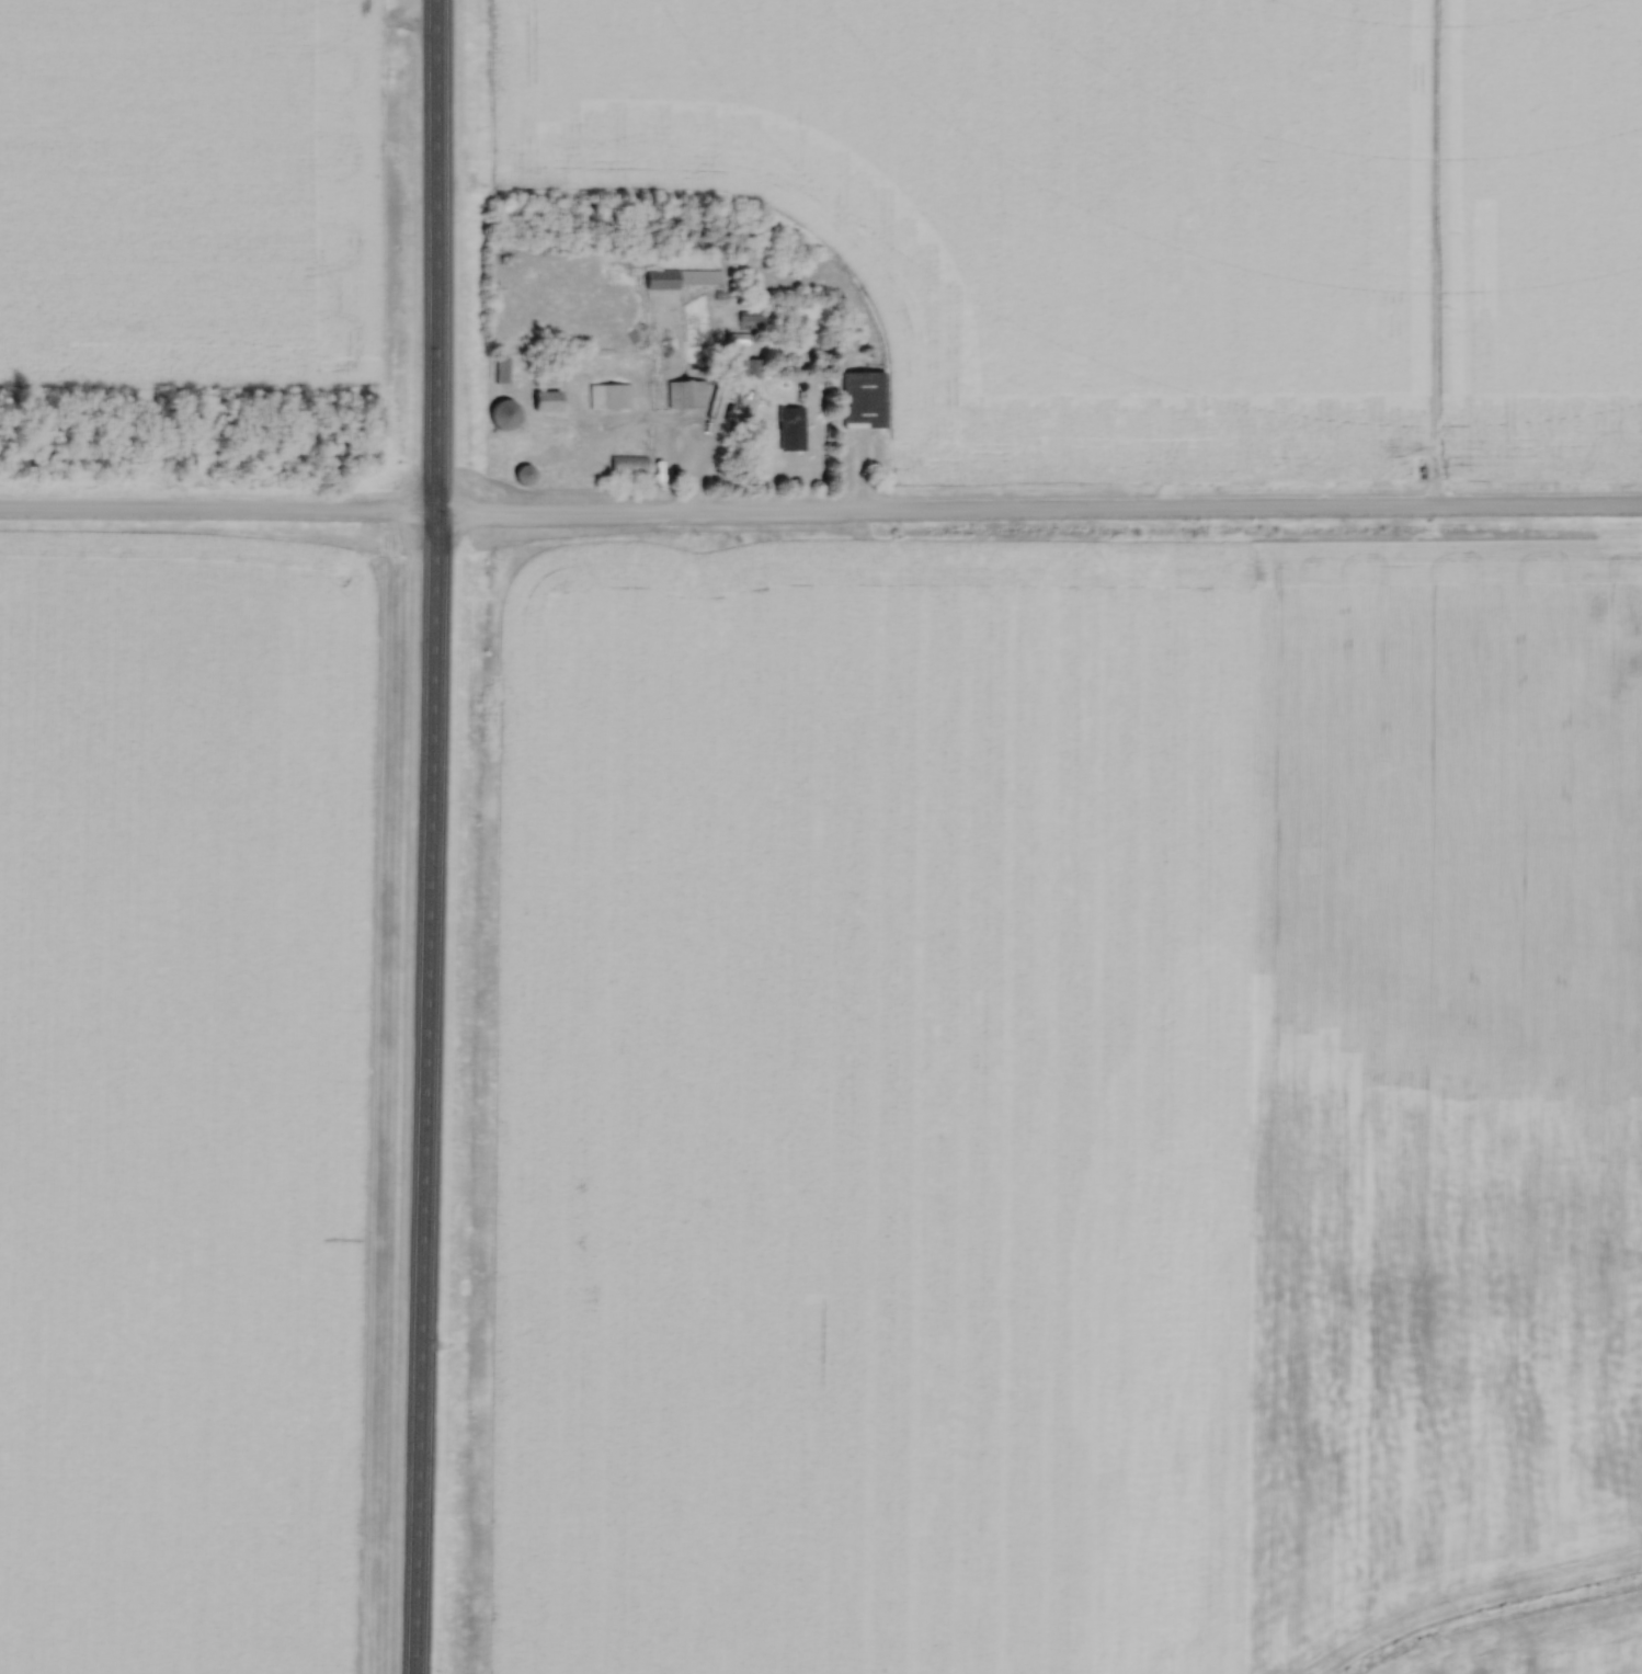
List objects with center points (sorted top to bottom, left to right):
building: (643, 280)
building: (744, 369)
building: (500, 377)
building: (686, 396)
building: (544, 401)
building: (862, 401)
building: (504, 415)
building: (789, 432)
road: (698, 452)
building: (626, 467)
building: (525, 477)
road: (216, 514)
road: (1037, 516)
road: (426, 836)

